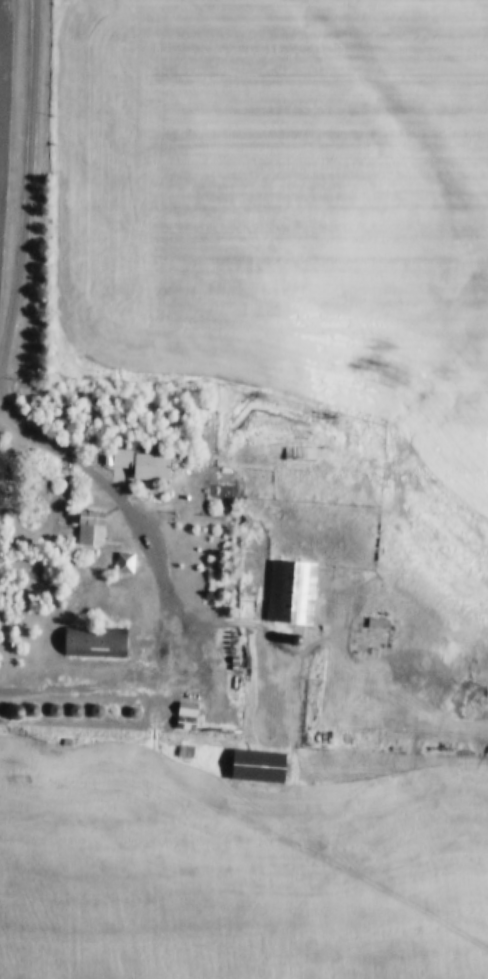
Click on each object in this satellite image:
road: (11, 338)
building: (141, 467)
building: (91, 528)
building: (292, 593)
building: (95, 642)
road: (106, 681)
building: (32, 712)
building: (15, 713)
building: (258, 767)
road: (248, 844)

